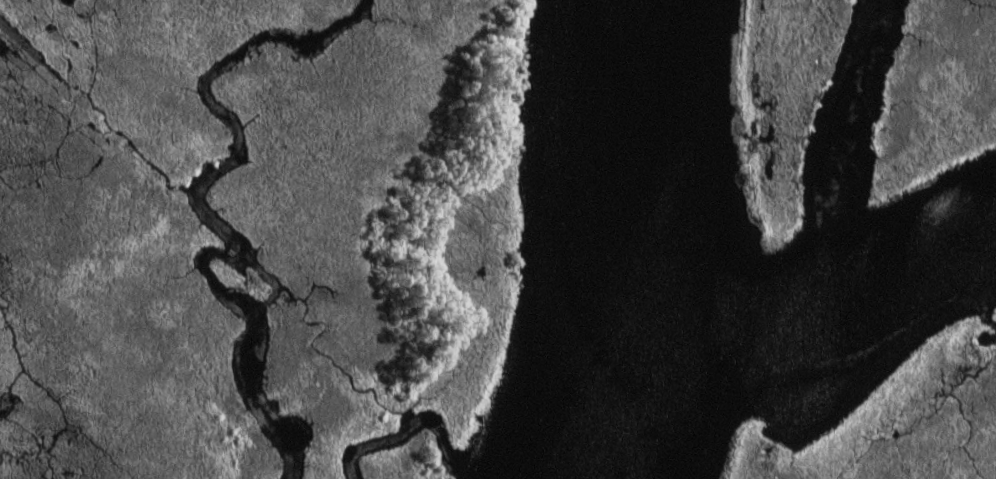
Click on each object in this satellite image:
river: (615, 240)

